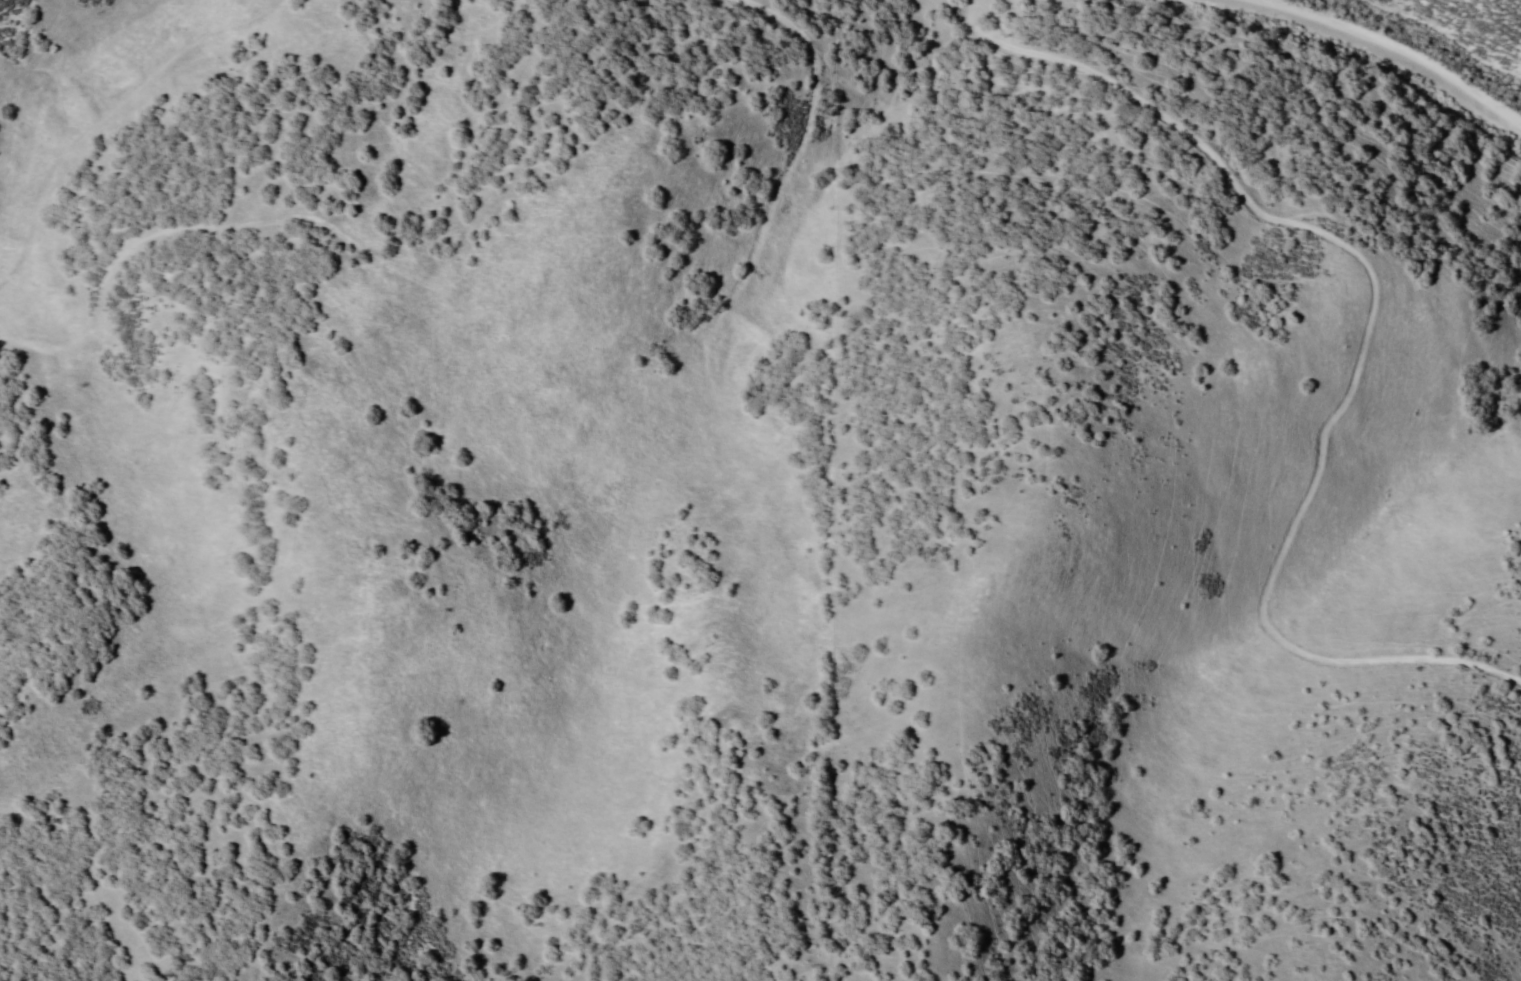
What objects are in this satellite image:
road: (1373, 51)

